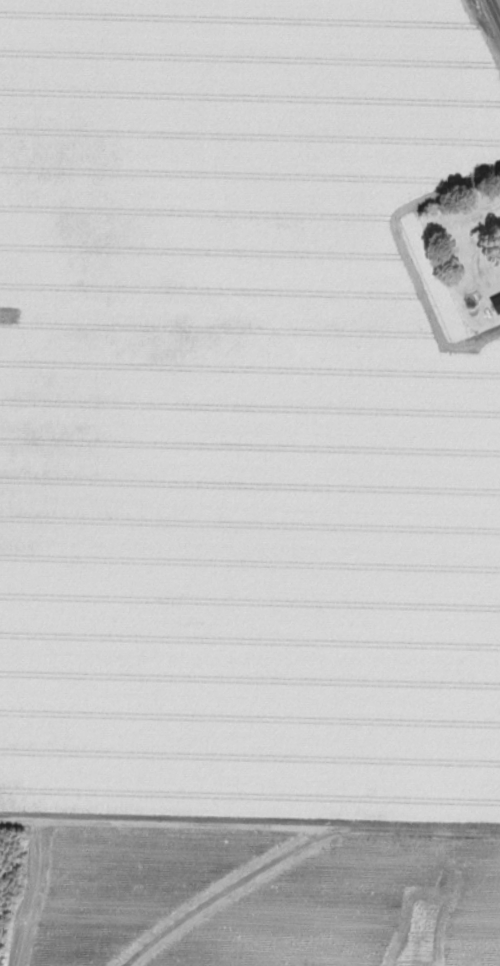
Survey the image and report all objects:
road: (495, 9)
building: (498, 301)

